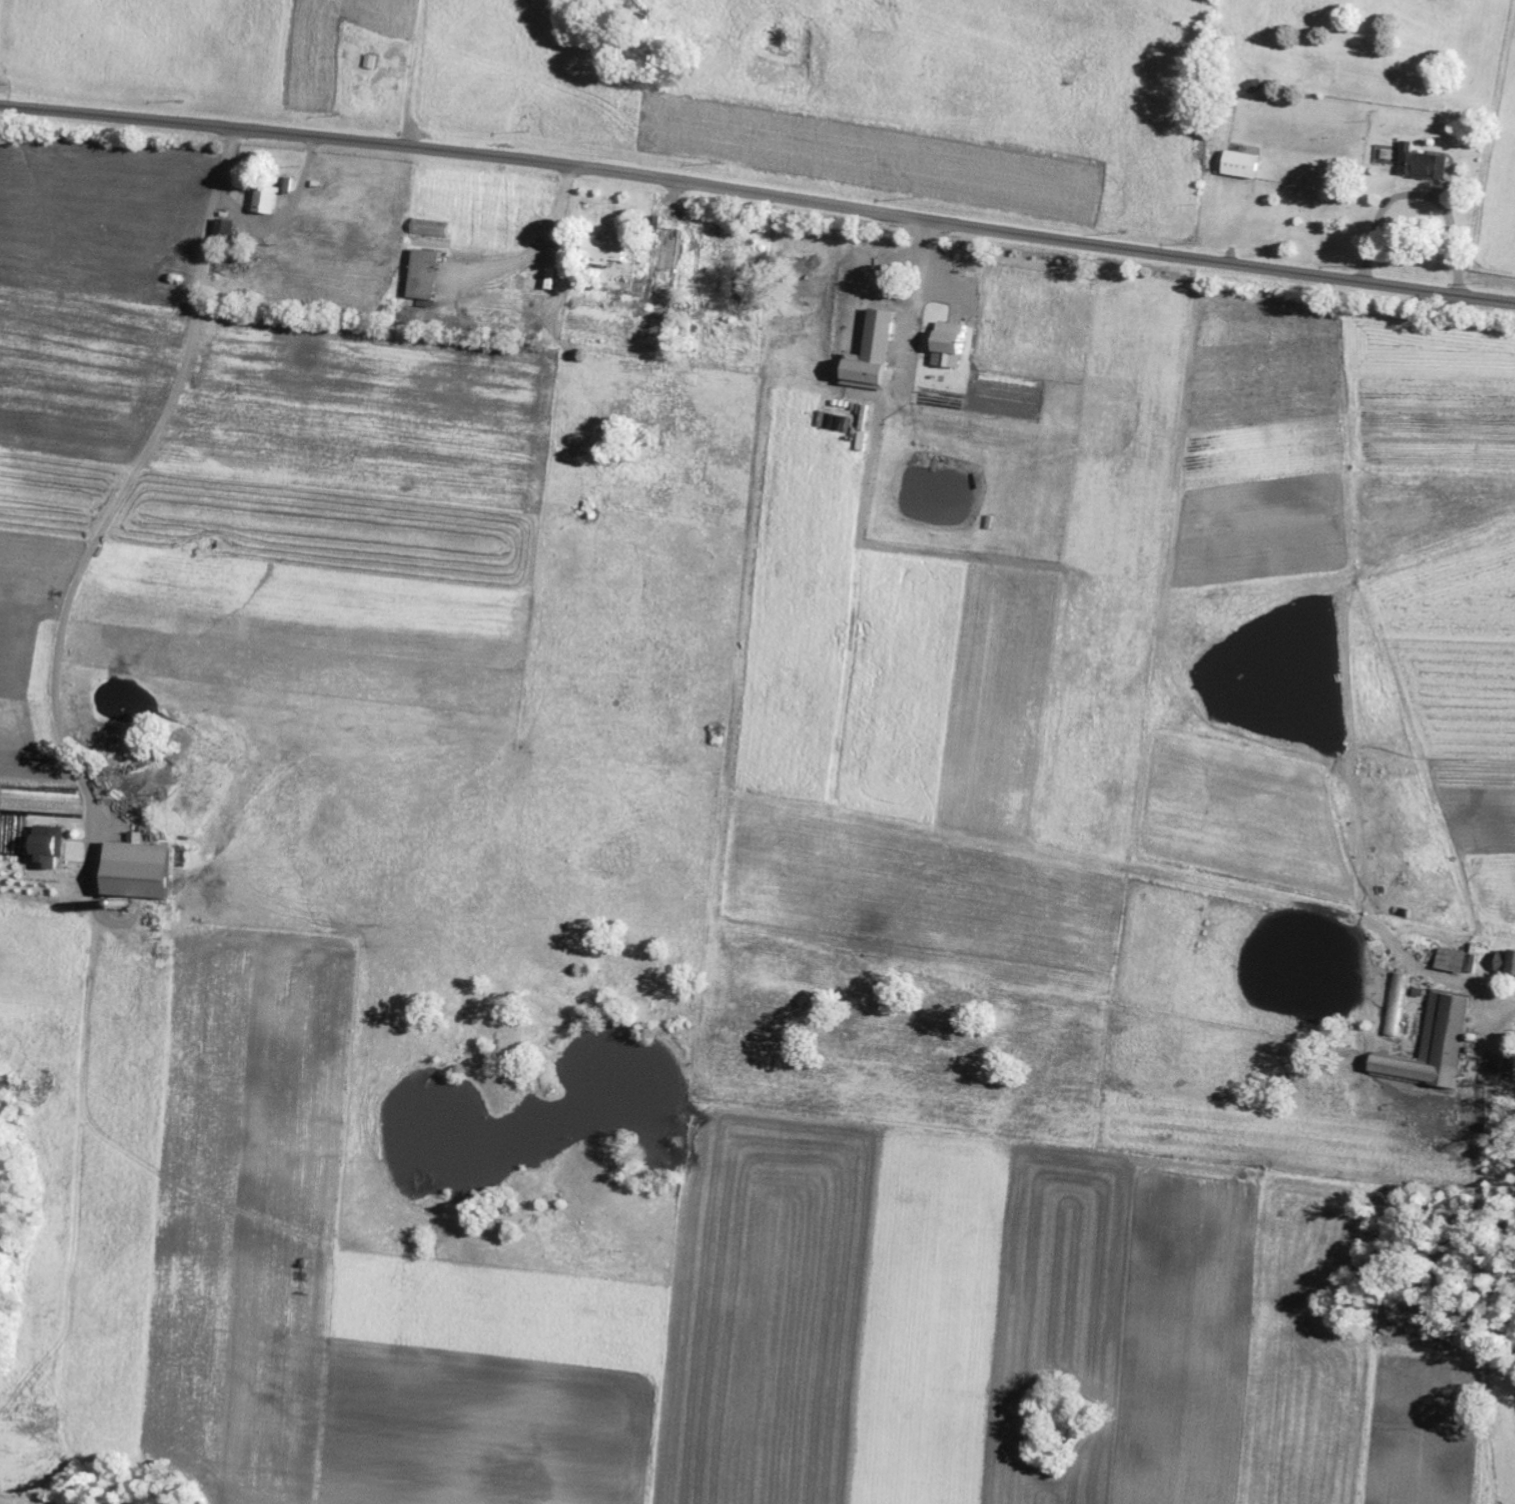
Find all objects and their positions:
building: (1423, 165)
building: (1240, 166)
road: (758, 194)
building: (272, 198)
building: (430, 230)
building: (226, 231)
building: (604, 253)
building: (425, 280)
building: (947, 347)
building: (872, 356)
building: (47, 847)
building: (136, 869)
building: (1457, 962)
building: (1506, 963)
building: (1397, 1005)
building: (1433, 1046)
building: (1511, 1072)

